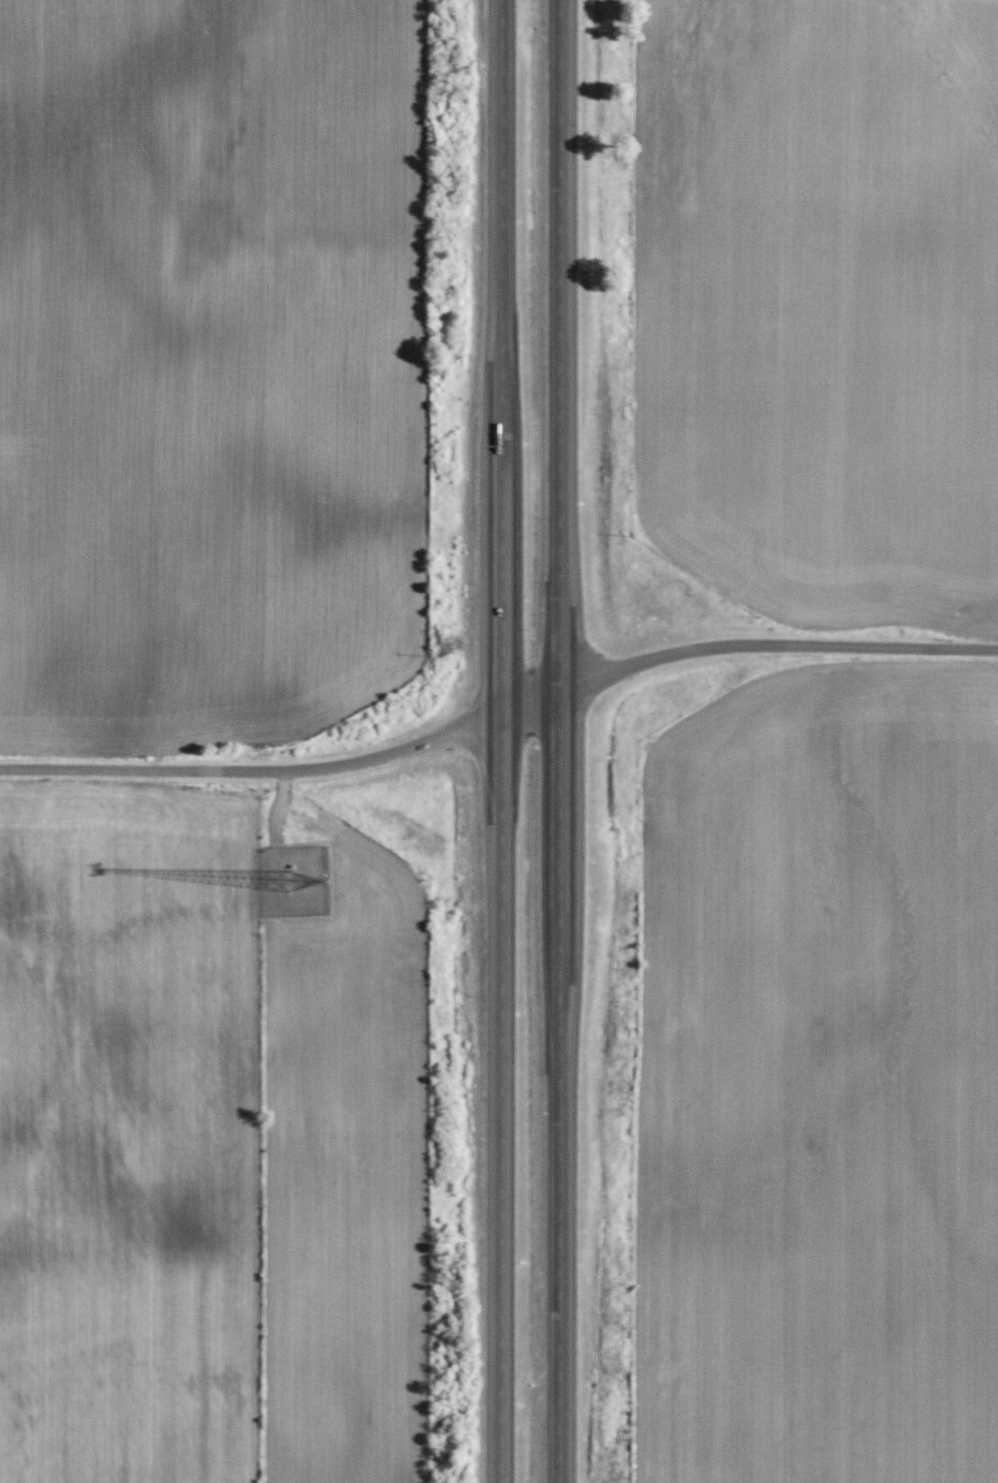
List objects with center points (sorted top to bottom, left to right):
road: (775, 646)
road: (502, 741)
road: (559, 741)
road: (286, 768)

